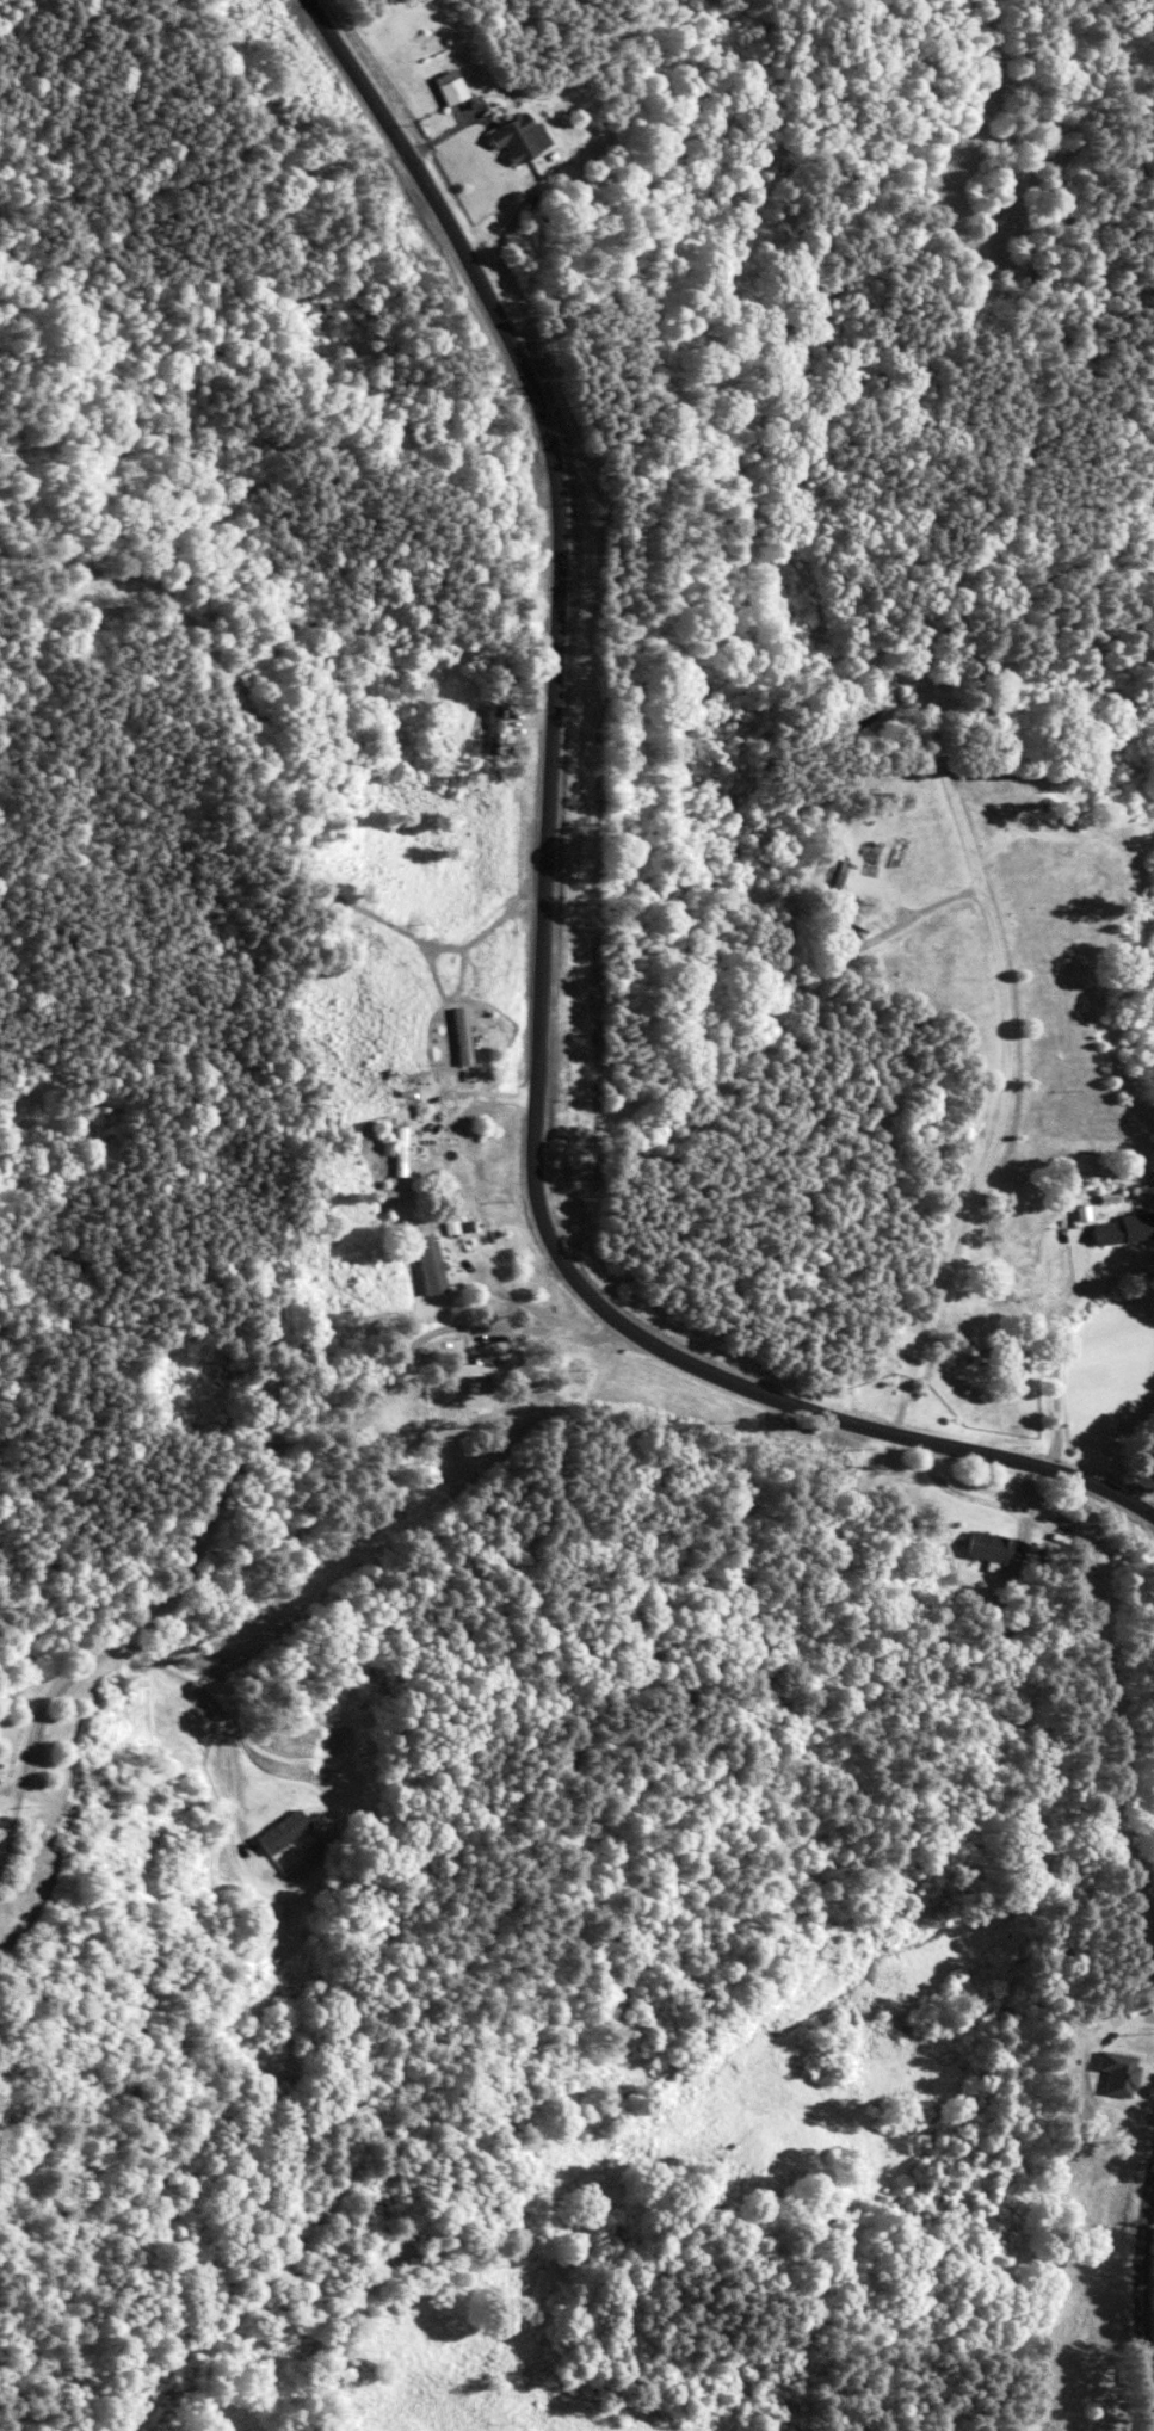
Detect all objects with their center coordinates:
building: (442, 87)
building: (506, 138)
building: (486, 728)
building: (846, 918)
road: (594, 956)
building: (459, 1037)
road: (1001, 1129)
building: (396, 1153)
road: (282, 1222)
building: (1123, 1229)
building: (427, 1265)
building: (980, 1547)
road: (1138, 2289)

